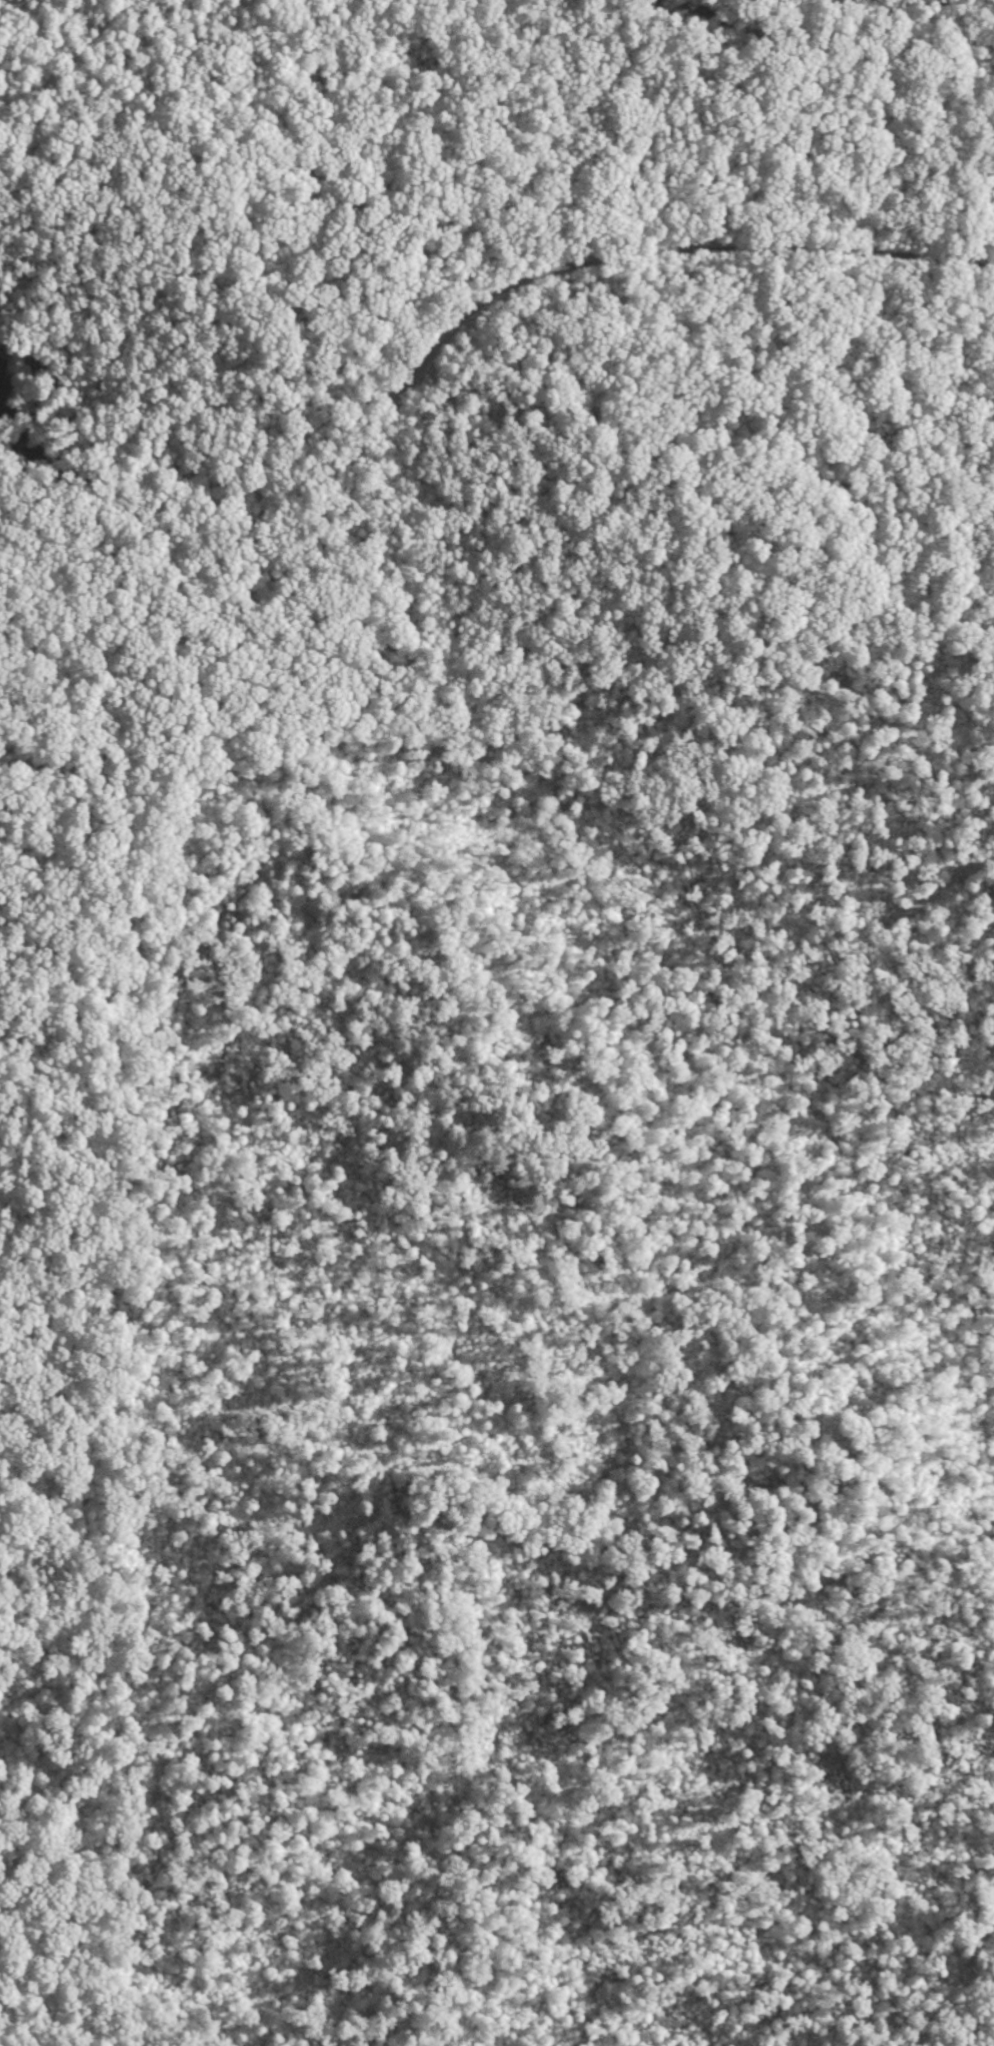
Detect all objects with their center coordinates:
road: (651, 248)

